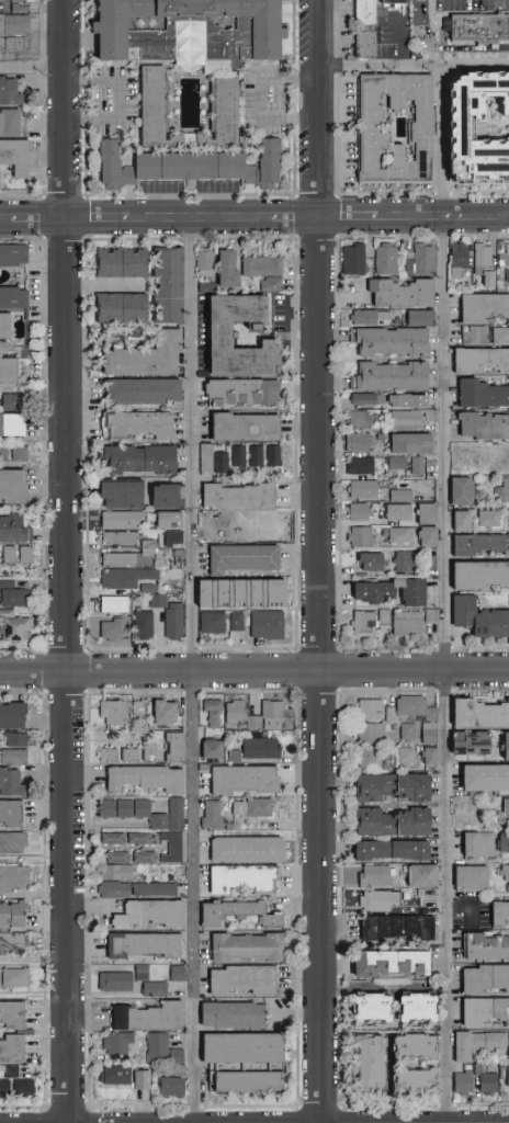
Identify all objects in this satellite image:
building: (29, 2)
building: (399, 4)
building: (16, 5)
building: (16, 27)
building: (479, 29)
building: (367, 30)
building: (182, 31)
building: (15, 46)
road: (444, 50)
road: (414, 67)
road: (34, 71)
building: (7, 91)
road: (259, 98)
road: (123, 101)
building: (157, 107)
building: (7, 122)
building: (480, 128)
building: (422, 132)
building: (15, 158)
building: (193, 167)
road: (255, 219)
building: (508, 250)
building: (10, 254)
building: (357, 261)
building: (388, 261)
building: (461, 261)
building: (115, 262)
building: (203, 262)
building: (423, 262)
building: (505, 262)
building: (259, 264)
building: (486, 265)
building: (223, 269)
building: (506, 276)
building: (268, 283)
building: (163, 285)
building: (504, 290)
building: (405, 295)
building: (10, 297)
building: (115, 307)
building: (485, 309)
building: (370, 318)
building: (423, 319)
building: (1, 326)
building: (211, 330)
building: (477, 337)
building: (502, 337)
building: (394, 343)
building: (140, 356)
building: (482, 361)
building: (5, 371)
building: (394, 378)
building: (138, 390)
building: (483, 396)
building: (369, 400)
building: (405, 400)
building: (12, 401)
building: (434, 419)
building: (361, 421)
building: (408, 421)
building: (9, 423)
building: (136, 424)
building: (238, 427)
building: (485, 428)
building: (361, 443)
building: (415, 445)
building: (12, 453)
building: (235, 455)
building: (253, 455)
building: (270, 455)
building: (508, 457)
building: (135, 458)
building: (203, 458)
building: (218, 462)
building: (500, 466)
building: (363, 467)
building: (399, 467)
building: (9, 487)
building: (365, 490)
building: (504, 492)
building: (116, 494)
building: (464, 494)
building: (161, 496)
building: (233, 496)
building: (404, 497)
building: (362, 513)
building: (400, 514)
building: (429, 515)
building: (118, 519)
building: (162, 519)
building: (457, 520)
building: (491, 520)
building: (465, 523)
building: (208, 525)
building: (259, 525)
building: (12, 530)
building: (171, 536)
building: (403, 536)
building: (116, 537)
building: (363, 537)
building: (431, 538)
building: (482, 545)
building: (13, 554)
building: (132, 555)
building: (176, 556)
building: (237, 558)
road: (68, 560)
road: (319, 560)
building: (374, 564)
building: (410, 564)
building: (123, 577)
building: (172, 577)
building: (480, 577)
building: (11, 593)
building: (233, 593)
building: (394, 593)
road: (448, 594)
building: (111, 603)
building: (167, 614)
building: (480, 620)
building: (235, 621)
building: (386, 621)
building: (210, 622)
building: (140, 624)
building: (263, 624)
building: (365, 625)
building: (410, 626)
building: (109, 629)
road: (192, 670)
road: (253, 670)
building: (135, 706)
building: (417, 708)
building: (234, 710)
building: (110, 711)
building: (159, 711)
building: (371, 711)
building: (211, 712)
building: (10, 713)
building: (480, 714)
building: (265, 715)
building: (392, 715)
building: (393, 728)
building: (372, 733)
building: (409, 733)
building: (431, 734)
building: (12, 737)
building: (473, 744)
building: (171, 745)
building: (207, 747)
building: (259, 747)
building: (507, 747)
building: (146, 751)
building: (121, 752)
building: (11, 755)
building: (233, 755)
building: (408, 756)
building: (431, 756)
building: (371, 760)
building: (393, 762)
building: (140, 776)
building: (238, 778)
building: (486, 778)
building: (8, 780)
building: (394, 787)
building: (122, 806)
building: (249, 806)
building: (8, 809)
building: (507, 809)
building: (173, 813)
building: (208, 813)
building: (156, 819)
building: (395, 823)
building: (494, 824)
building: (110, 837)
building: (137, 837)
building: (11, 840)
building: (504, 842)
building: (170, 846)
building: (480, 846)
building: (242, 848)
building: (393, 851)
building: (114, 855)
building: (142, 855)
building: (113, 871)
building: (505, 873)
building: (12, 876)
building: (238, 876)
building: (423, 876)
building: (376, 877)
building: (473, 878)
building: (135, 888)
building: (380, 901)
building: (231, 911)
building: (10, 912)
building: (144, 912)
building: (500, 915)
building: (399, 929)
building: (11, 941)
building: (139, 943)
building: (241, 945)
building: (487, 948)
road: (34, 957)
building: (392, 964)
building: (138, 971)
building: (11, 976)
building: (237, 978)
building: (112, 979)
building: (486, 979)
road: (373, 985)
building: (151, 988)
building: (373, 1009)
building: (418, 1009)
building: (485, 1011)
building: (9, 1013)
building: (227, 1013)
building: (144, 1016)
building: (118, 1042)
building: (479, 1045)
building: (9, 1046)
building: (237, 1046)
building: (160, 1047)
building: (417, 1048)
building: (370, 1065)
building: (177, 1068)
building: (9, 1070)
building: (112, 1074)
building: (505, 1074)
building: (139, 1078)
building: (241, 1079)
building: (488, 1080)
building: (417, 1082)
building: (168, 1085)
building: (465, 1085)
building: (3, 1086)
building: (21, 1086)

